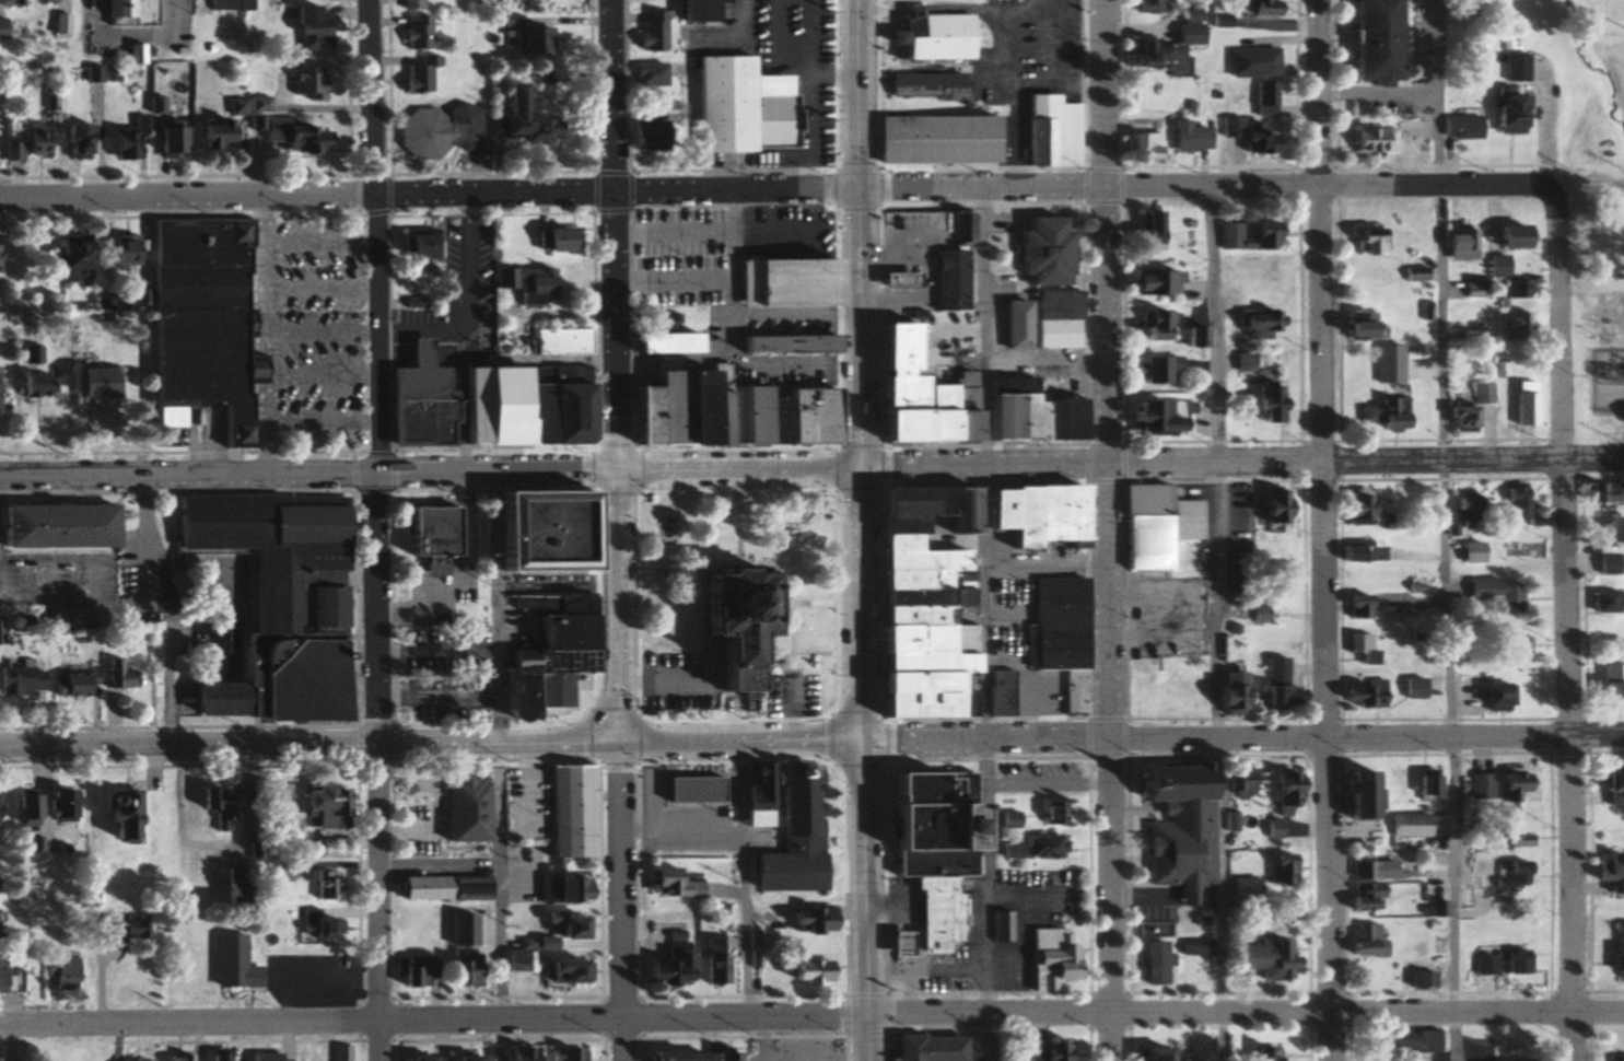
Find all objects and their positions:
building: (10, 0)
building: (1465, 3)
building: (226, 4)
building: (408, 4)
building: (1142, 7)
building: (1250, 7)
building: (692, 11)
building: (126, 12)
building: (305, 27)
building: (0, 30)
building: (651, 31)
building: (412, 33)
building: (926, 35)
building: (526, 39)
building: (1365, 39)
building: (130, 54)
building: (1147, 54)
building: (1247, 62)
building: (1512, 67)
building: (649, 74)
building: (417, 77)
building: (303, 81)
building: (921, 85)
road: (1379, 92)
building: (1262, 98)
building: (738, 105)
building: (234, 106)
building: (1505, 114)
building: (516, 116)
building: (1460, 126)
building: (434, 130)
building: (644, 130)
building: (283, 131)
building: (1049, 131)
building: (211, 133)
building: (1250, 136)
building: (1183, 137)
building: (935, 139)
building: (1370, 139)
building: (161, 140)
building: (72, 141)
building: (28, 142)
building: (124, 142)
building: (1138, 147)
road: (1242, 189)
road: (431, 195)
building: (958, 226)
road: (1322, 229)
building: (1147, 230)
building: (1262, 230)
road: (1109, 231)
road: (861, 233)
road: (617, 235)
building: (1508, 236)
road: (367, 237)
building: (553, 240)
building: (1368, 241)
building: (1591, 243)
building: (1457, 244)
building: (413, 249)
building: (119, 250)
building: (1040, 250)
building: (63, 261)
building: (1254, 270)
building: (1411, 275)
road: (732, 276)
building: (1224, 276)
building: (892, 279)
gas station: (944, 279)
building: (945, 280)
building: (786, 282)
building: (1148, 282)
building: (528, 284)
building: (1473, 287)
building: (1515, 290)
building: (190, 318)
building: (1053, 319)
building: (1252, 324)
road: (1558, 324)
building: (1013, 325)
building: (1150, 325)
building: (1351, 326)
building: (1517, 326)
building: (1469, 336)
building: (1193, 338)
building: (558, 342)
building: (656, 343)
building: (783, 343)
building: (1378, 353)
building: (1413, 353)
building: (30, 354)
road: (763, 361)
building: (1240, 362)
road: (1044, 368)
building: (1153, 369)
building: (89, 383)
building: (37, 385)
building: (915, 390)
building: (3, 394)
building: (1480, 394)
building: (416, 401)
building: (1264, 403)
building: (1522, 404)
building: (518, 405)
building: (716, 410)
building: (1025, 413)
building: (1382, 415)
building: (1622, 415)
building: (1160, 418)
building: (1456, 418)
road: (1241, 460)
road: (739, 469)
road: (309, 476)
building: (1602, 492)
building: (1514, 504)
building: (1269, 508)
building: (1353, 510)
building: (1462, 510)
building: (1032, 516)
building: (56, 525)
building: (1152, 526)
building: (546, 530)
road: (1444, 530)
building: (428, 536)
building: (271, 551)
building: (1356, 552)
building: (1472, 552)
building: (1605, 563)
building: (1276, 575)
road: (558, 586)
building: (1494, 594)
building: (1600, 602)
building: (547, 603)
road: (860, 605)
park: (738, 606)
building: (1353, 607)
road: (619, 608)
building: (1258, 608)
building: (916, 609)
road: (353, 610)
building: (726, 619)
road: (981, 623)
road: (1214, 625)
building: (558, 632)
building: (1058, 634)
building: (1363, 648)
building: (1506, 649)
building: (546, 662)
building: (117, 671)
building: (28, 678)
building: (279, 679)
building: (82, 683)
parking lot: (673, 684)
road: (654, 685)
building: (1609, 685)
building: (1276, 687)
building: (1410, 688)
building: (998, 693)
building: (1228, 695)
building: (1363, 695)
building: (1488, 697)
parking lot: (788, 698)
road: (639, 709)
road: (794, 713)
road: (1241, 736)
road: (739, 744)
road: (498, 746)
road: (309, 747)
road: (1332, 759)
road: (1110, 761)
road: (1577, 761)
road: (370, 768)
building: (1038, 781)
building: (1237, 783)
building: (1423, 785)
building: (1507, 785)
building: (1475, 786)
building: (1610, 788)
building: (927, 790)
building: (694, 792)
building: (419, 793)
building: (1278, 794)
building: (1353, 795)
building: (757, 796)
building: (316, 806)
building: (71, 807)
building: (213, 807)
building: (3, 809)
building: (460, 809)
building: (35, 811)
building: (569, 813)
building: (1053, 815)
building: (130, 818)
building: (1009, 820)
building: (1404, 826)
building: (1178, 827)
building: (1269, 829)
building: (925, 830)
building: (793, 837)
building: (1510, 841)
building: (1041, 847)
building: (1436, 849)
building: (932, 864)
building: (1277, 870)
building: (278, 871)
building: (1368, 871)
building: (1509, 877)
road: (745, 881)
building: (663, 882)
building: (0, 886)
building: (230, 886)
building: (322, 887)
building: (440, 889)
building: (558, 889)
building: (1240, 894)
building: (1360, 898)
road: (621, 902)
road: (862, 902)
building: (809, 920)
building: (1000, 926)
building: (3, 928)
building: (141, 928)
building: (314, 928)
building: (559, 929)
building: (460, 931)
building: (1359, 941)
building: (1191, 947)
building: (1617, 952)
building: (1267, 957)
building: (1047, 958)
building: (757, 959)
building: (517, 960)
building: (712, 960)
building: (1152, 960)
building: (1511, 961)
building: (229, 964)
building: (669, 964)
building: (1482, 965)
building: (464, 971)
building: (417, 972)
building: (560, 972)
building: (804, 972)
building: (73, 975)
building: (8, 976)
building: (1418, 979)
road: (1243, 1015)
road: (432, 1023)
building: (1409, 1040)
building: (924, 1048)
building: (342, 1052)
building: (1044, 1052)
building: (517, 1053)
building: (1265, 1053)
building: (564, 1054)
building: (1150, 1054)
building: (97, 1056)
building: (227, 1056)
building: (671, 1056)
building: (725, 1057)
building: (191, 1058)
building: (272, 1058)
building: (464, 1058)
building: (1616, 1058)
building: (422, 1059)
building: (13, 1060)
building: (142, 1060)
building: (1500, 1060)

